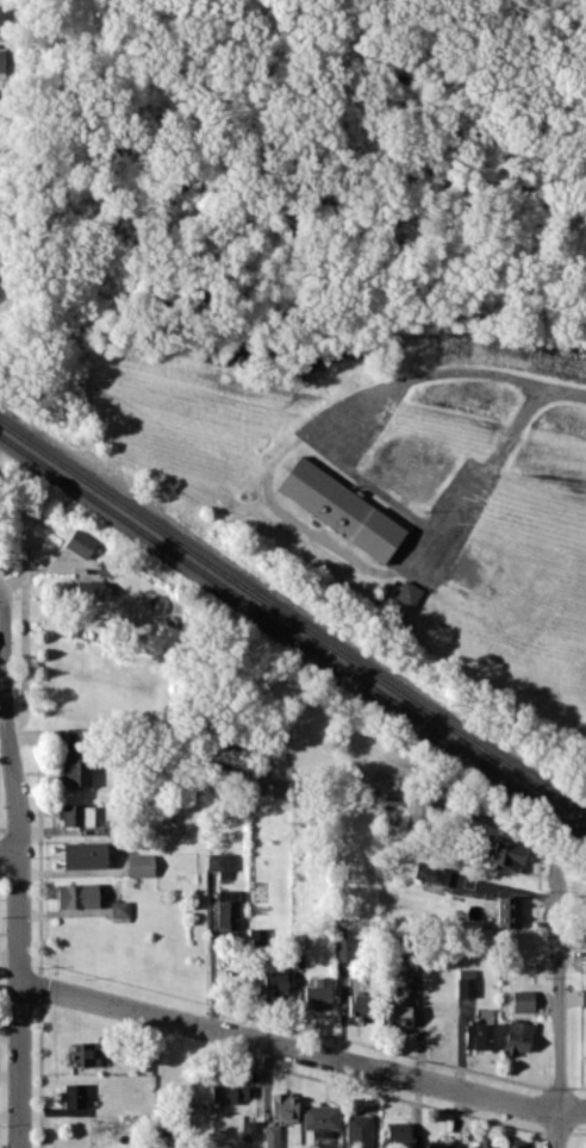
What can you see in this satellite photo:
building: (1, 15)
building: (2, 60)
road: (565, 392)
road: (337, 458)
building: (341, 509)
building: (80, 542)
building: (105, 566)
road: (1, 588)
building: (87, 591)
building: (407, 592)
railway: (293, 618)
railway: (293, 635)
building: (75, 769)
building: (413, 804)
building: (75, 813)
road: (10, 850)
building: (83, 854)
building: (505, 855)
building: (139, 863)
building: (220, 863)
road: (19, 868)
building: (431, 872)
building: (76, 894)
building: (226, 909)
building: (119, 910)
building: (505, 911)
building: (343, 949)
building: (405, 966)
building: (270, 981)
building: (466, 982)
building: (317, 992)
building: (582, 996)
building: (522, 1000)
building: (357, 1005)
road: (560, 1005)
building: (395, 1015)
building: (476, 1030)
building: (516, 1036)
road: (301, 1050)
building: (85, 1053)
building: (227, 1092)
building: (71, 1094)
building: (282, 1105)
building: (320, 1118)
building: (248, 1129)
building: (359, 1130)
building: (399, 1134)
building: (272, 1135)
building: (516, 1142)
building: (441, 1143)

